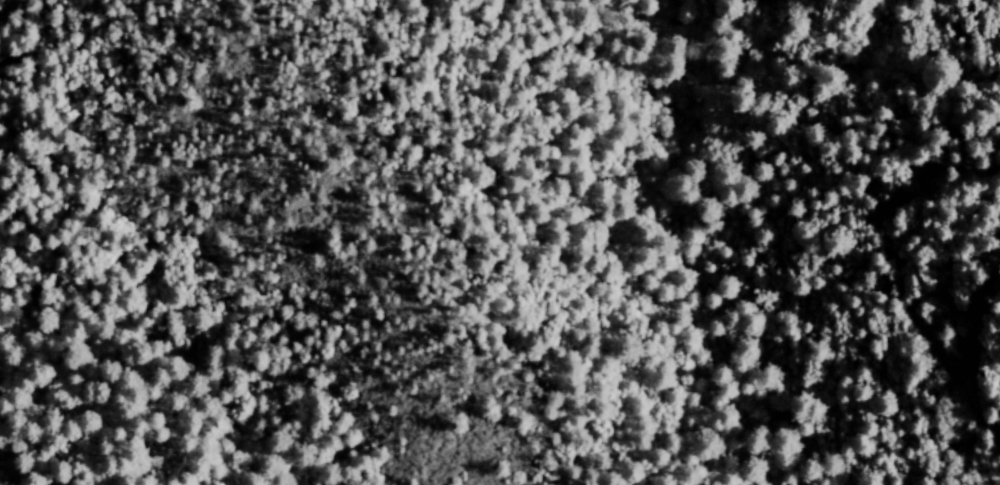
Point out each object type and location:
road: (952, 314)

